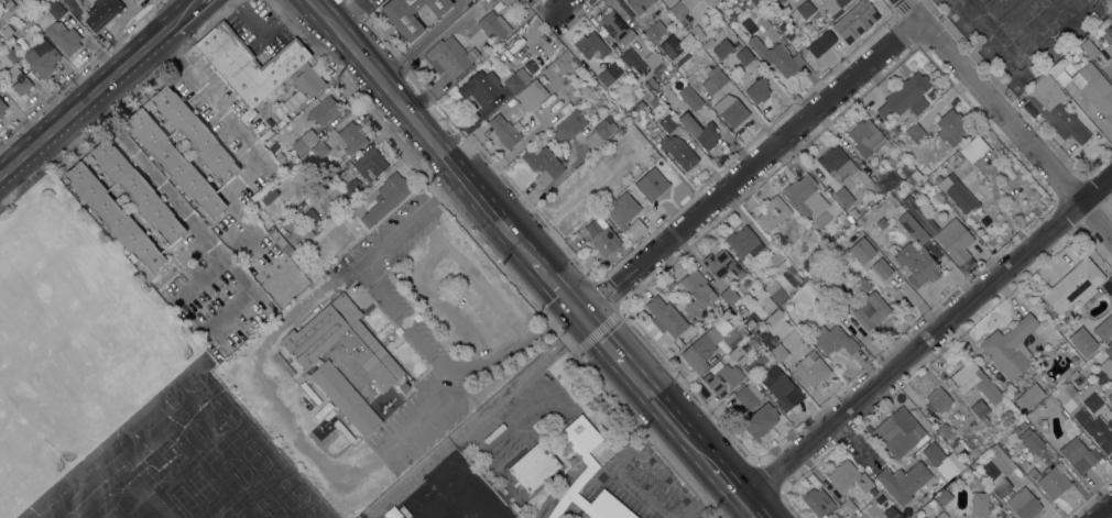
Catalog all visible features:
building: (14, 0)
building: (493, 1)
building: (508, 1)
building: (711, 2)
building: (757, 2)
building: (9, 5)
building: (639, 5)
building: (833, 7)
building: (55, 10)
building: (805, 10)
road: (914, 10)
road: (556, 11)
building: (683, 11)
building: (101, 12)
road: (348, 12)
building: (411, 14)
building: (1111, 16)
building: (854, 19)
building: (493, 26)
building: (781, 27)
building: (617, 29)
building: (4, 30)
building: (654, 31)
building: (767, 31)
road: (268, 33)
building: (694, 33)
building: (788, 36)
building: (63, 37)
building: (1106, 38)
road: (421, 40)
building: (820, 43)
building: (590, 46)
building: (671, 46)
building: (704, 46)
building: (613, 47)
building: (737, 47)
building: (720, 48)
building: (1089, 48)
road: (172, 51)
building: (11, 56)
building: (629, 57)
building: (775, 57)
building: (42, 58)
building: (450, 59)
building: (653, 59)
building: (682, 59)
building: (249, 64)
building: (815, 67)
building: (1058, 74)
building: (609, 75)
building: (713, 78)
building: (308, 80)
building: (516, 80)
building: (17, 81)
building: (650, 82)
road: (99, 87)
building: (478, 87)
building: (1094, 89)
building: (757, 90)
building: (530, 95)
building: (689, 97)
building: (905, 97)
building: (653, 101)
building: (640, 104)
building: (146, 106)
building: (259, 106)
building: (1, 108)
building: (1054, 110)
building: (324, 111)
building: (731, 111)
building: (664, 120)
building: (906, 121)
road: (1017, 125)
building: (568, 126)
building: (951, 128)
road: (419, 130)
road: (237, 131)
building: (503, 131)
building: (599, 132)
building: (699, 132)
building: (915, 133)
building: (194, 134)
building: (891, 134)
building: (351, 137)
building: (865, 137)
building: (304, 142)
building: (898, 143)
building: (319, 150)
building: (676, 150)
building: (973, 150)
building: (86, 158)
building: (281, 161)
building: (174, 163)
building: (542, 164)
building: (837, 164)
building: (370, 165)
building: (907, 168)
road: (752, 169)
building: (925, 169)
building: (634, 172)
building: (914, 177)
building: (887, 181)
building: (352, 189)
building: (137, 190)
building: (957, 192)
building: (268, 195)
building: (804, 195)
building: (843, 197)
building: (385, 198)
road: (172, 201)
building: (773, 213)
building: (853, 213)
building: (624, 214)
building: (112, 216)
building: (919, 216)
building: (309, 218)
building: (881, 224)
building: (275, 236)
building: (601, 236)
building: (955, 241)
building: (744, 243)
building: (914, 253)
building: (870, 257)
building: (722, 265)
building: (967, 266)
building: (817, 269)
building: (1111, 280)
building: (861, 286)
building: (1073, 286)
building: (778, 287)
road: (556, 289)
building: (693, 294)
building: (731, 298)
building: (740, 311)
building: (871, 311)
building: (774, 312)
building: (728, 313)
building: (665, 316)
building: (829, 320)
road: (405, 322)
building: (1106, 329)
building: (735, 335)
road: (599, 340)
building: (833, 340)
road: (929, 341)
building: (341, 342)
building: (754, 344)
building: (1076, 346)
building: (1010, 348)
building: (1109, 349)
building: (701, 350)
building: (778, 352)
building: (808, 367)
building: (1106, 367)
road: (523, 378)
building: (722, 378)
building: (1076, 378)
building: (1038, 379)
building: (1098, 379)
building: (974, 382)
building: (781, 388)
building: (748, 396)
building: (1028, 397)
building: (345, 398)
building: (1110, 398)
building: (1089, 399)
building: (938, 400)
building: (980, 411)
road: (666, 414)
building: (760, 420)
building: (1022, 425)
building: (945, 430)
building: (1015, 430)
building: (1095, 430)
building: (582, 433)
building: (898, 433)
building: (1031, 442)
building: (1079, 454)
building: (942, 461)
building: (1024, 464)
building: (533, 466)
road: (614, 466)
building: (997, 471)
building: (1033, 474)
building: (848, 476)
building: (813, 481)
building: (1053, 481)
building: (577, 482)
building: (903, 482)
building: (941, 483)
road: (730, 485)
building: (473, 486)
building: (944, 497)
building: (454, 498)
road: (706, 500)
building: (817, 502)
building: (931, 503)
building: (417, 504)
building: (979, 504)
building: (1023, 504)
building: (609, 506)
building: (848, 507)
building: (994, 508)
road: (752, 510)
building: (392, 513)
building: (891, 513)
road: (1105, 513)
building: (940, 515)
building: (835, 516)
building: (846, 517)

